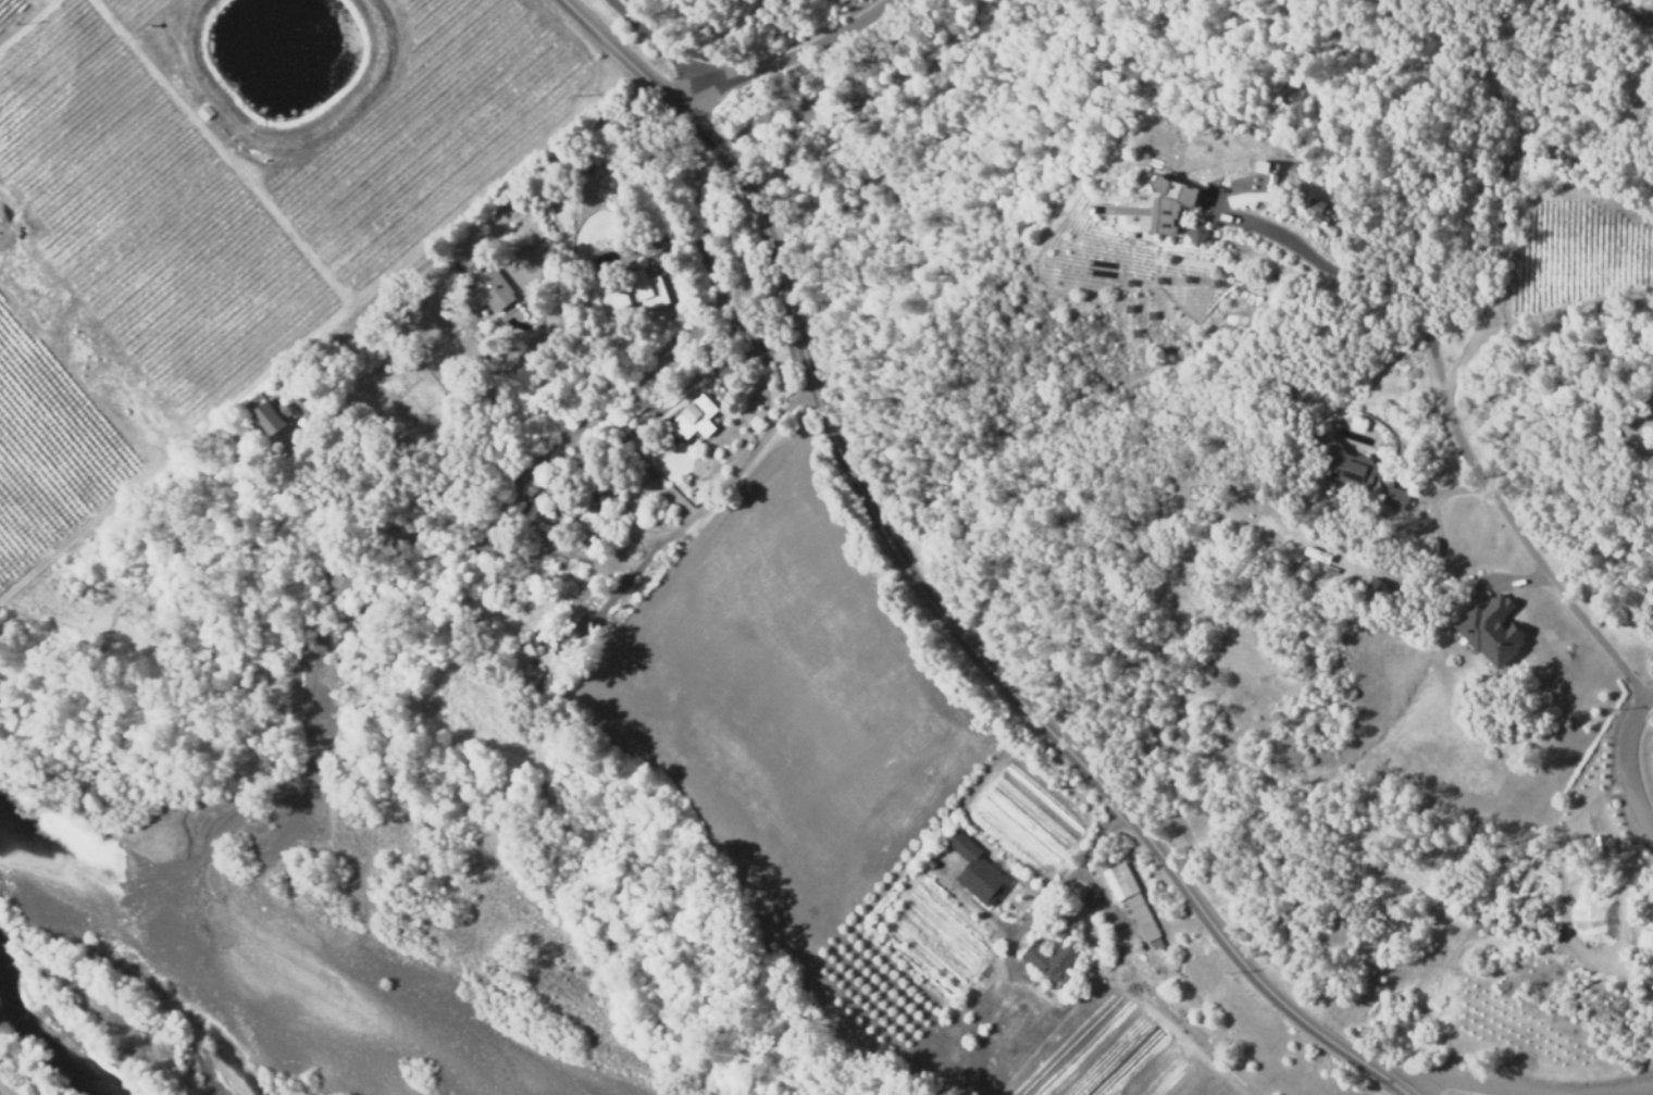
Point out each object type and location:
road: (1632, 13)
road: (658, 45)
road: (788, 55)
building: (1281, 167)
building: (1183, 196)
building: (1327, 213)
road: (483, 222)
building: (1202, 233)
building: (1215, 234)
road: (1334, 271)
building: (488, 287)
building: (629, 291)
building: (273, 414)
building: (697, 418)
building: (1364, 475)
road: (698, 508)
road: (1524, 536)
building: (1313, 555)
road: (923, 589)
building: (1379, 594)
building: (1491, 633)
building: (539, 663)
road: (1623, 761)
road: (1053, 895)
building: (1128, 897)
building: (1644, 941)
building: (1052, 959)
river: (75, 1024)
road: (1629, 1091)
road: (1509, 1093)

